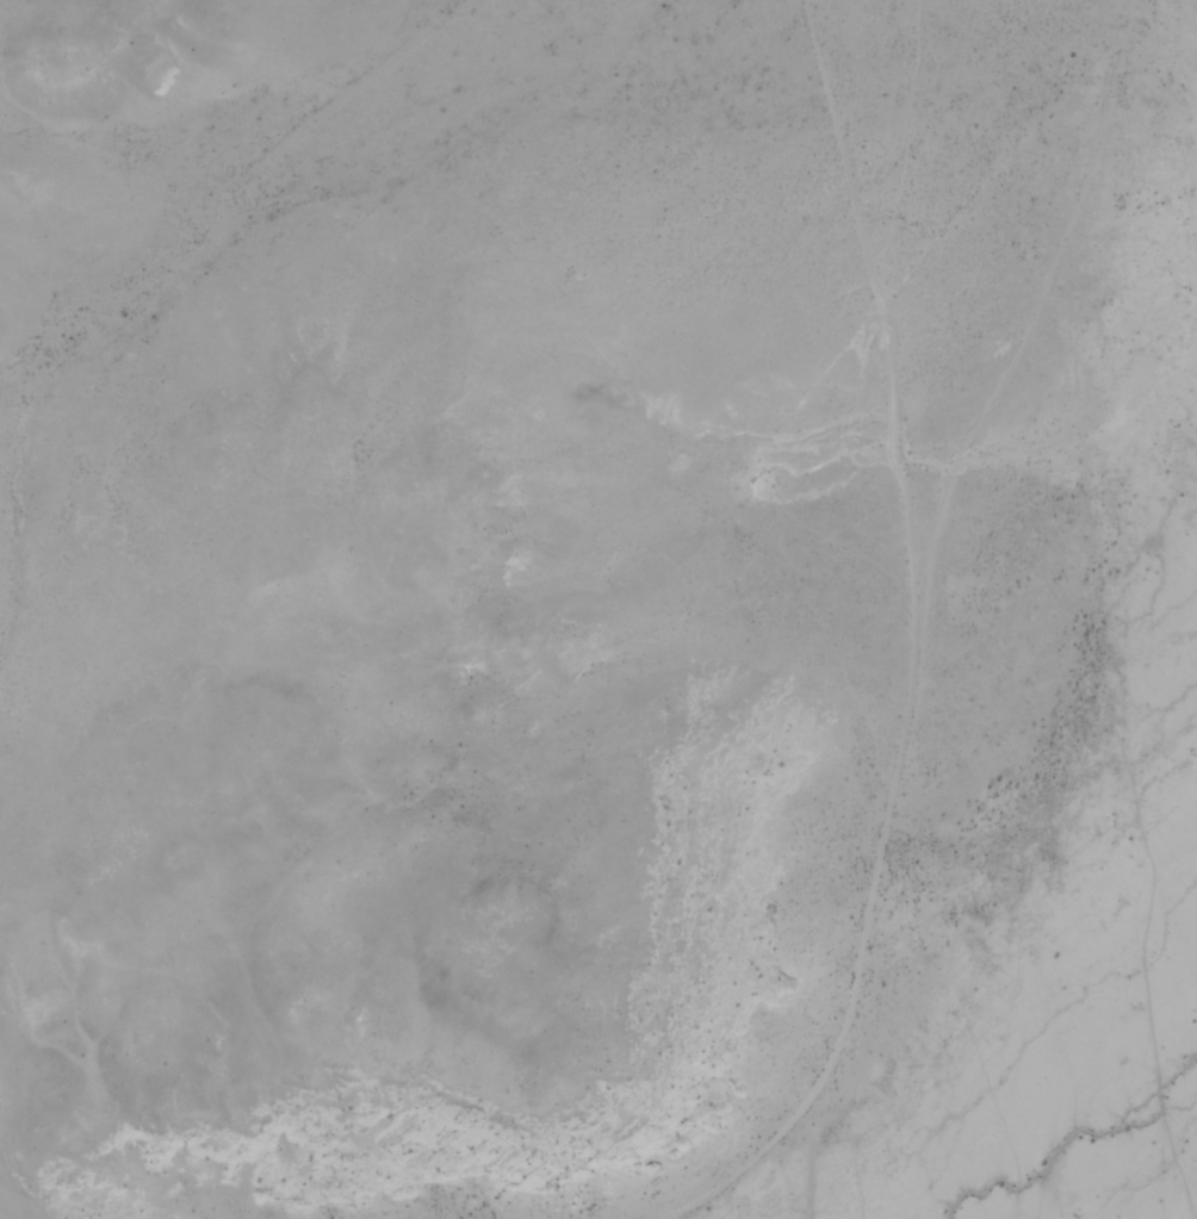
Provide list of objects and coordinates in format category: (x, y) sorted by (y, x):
road: (907, 636)

